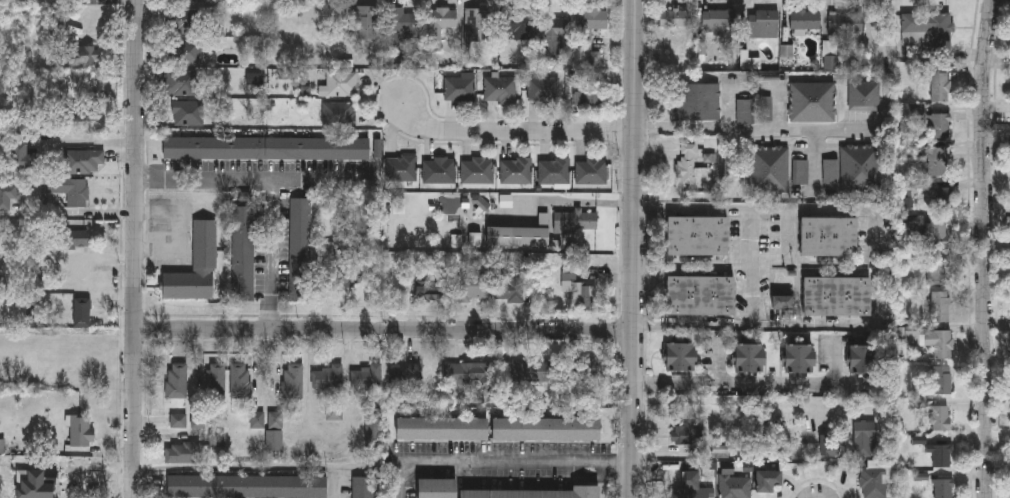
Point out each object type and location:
building: (673, 18)
building: (719, 19)
building: (182, 20)
building: (403, 21)
building: (805, 21)
building: (364, 22)
building: (439, 24)
building: (514, 24)
building: (765, 24)
building: (844, 24)
building: (589, 25)
building: (479, 27)
building: (915, 28)
building: (556, 40)
building: (184, 51)
building: (83, 55)
building: (180, 82)
building: (940, 82)
building: (339, 83)
building: (460, 89)
building: (500, 89)
building: (544, 89)
building: (590, 94)
building: (864, 95)
building: (699, 101)
building: (812, 101)
building: (90, 108)
building: (743, 111)
building: (187, 112)
building: (339, 114)
building: (939, 124)
road: (745, 128)
road: (510, 131)
road: (85, 144)
building: (266, 148)
building: (22, 154)
road: (816, 154)
building: (937, 159)
building: (84, 160)
building: (686, 164)
building: (402, 168)
building: (854, 168)
building: (768, 169)
building: (440, 170)
building: (478, 170)
building: (557, 170)
building: (517, 171)
building: (592, 172)
building: (800, 172)
road: (251, 178)
building: (71, 189)
building: (9, 194)
building: (944, 198)
road: (572, 205)
road: (78, 211)
building: (577, 220)
building: (695, 235)
building: (937, 235)
building: (517, 236)
building: (827, 236)
building: (77, 238)
road: (635, 248)
road: (986, 248)
road: (135, 249)
building: (300, 250)
building: (243, 254)
road: (270, 254)
building: (195, 266)
road: (878, 266)
road: (751, 267)
building: (939, 272)
building: (351, 276)
building: (473, 286)
building: (510, 286)
building: (433, 288)
building: (582, 292)
building: (703, 292)
building: (835, 297)
building: (782, 301)
building: (940, 305)
building: (83, 311)
road: (386, 329)
building: (939, 341)
building: (678, 356)
building: (748, 358)
building: (797, 358)
building: (859, 359)
building: (467, 372)
building: (530, 372)
building: (329, 376)
building: (367, 376)
building: (407, 378)
building: (943, 379)
building: (176, 380)
building: (216, 380)
building: (240, 380)
building: (294, 381)
road: (735, 387)
building: (335, 411)
building: (940, 417)
building: (178, 420)
building: (270, 427)
building: (440, 427)
building: (545, 428)
building: (82, 430)
building: (689, 433)
building: (374, 435)
building: (864, 437)
building: (217, 438)
building: (182, 452)
building: (941, 453)
road: (504, 463)
road: (248, 469)
building: (767, 480)
building: (873, 482)
building: (247, 484)
building: (735, 485)
building: (363, 486)
building: (691, 487)
building: (943, 487)
building: (436, 488)
building: (532, 492)

